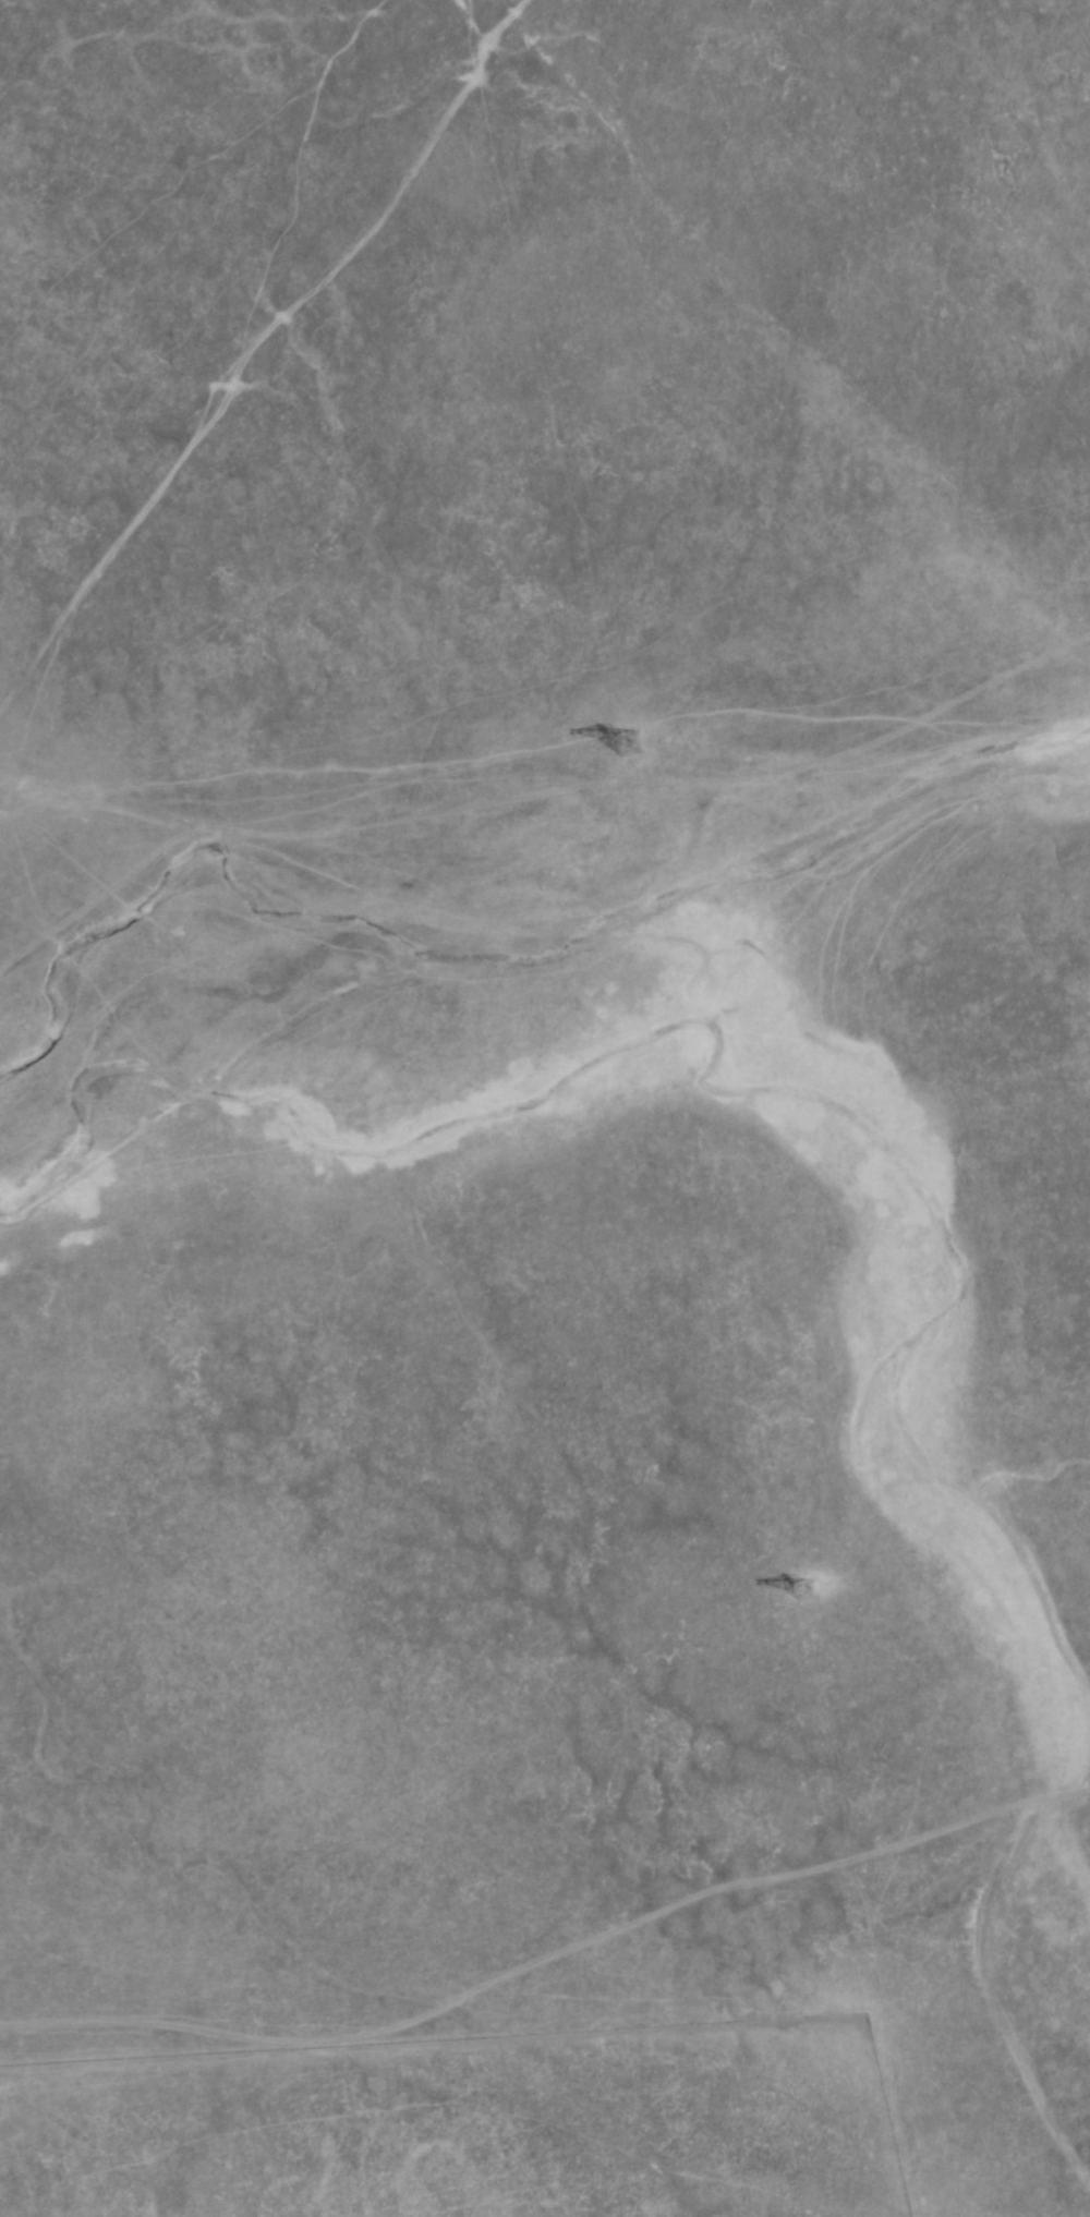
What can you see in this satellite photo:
power tower: (640, 747)
power tower: (814, 1594)

